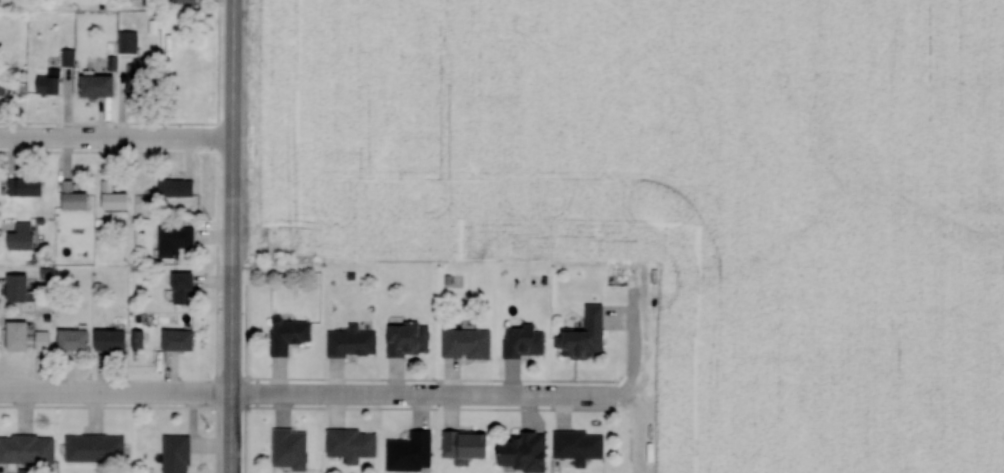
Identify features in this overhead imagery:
building: (195, 0)
building: (53, 81)
building: (143, 82)
building: (105, 83)
building: (6, 84)
road: (116, 139)
building: (32, 186)
building: (181, 186)
crop: (688, 193)
building: (119, 196)
building: (80, 197)
building: (28, 235)
road: (236, 236)
building: (180, 239)
building: (24, 287)
building: (191, 287)
building: (285, 333)
building: (24, 334)
building: (582, 334)
building: (124, 338)
building: (404, 338)
building: (47, 339)
building: (81, 339)
building: (185, 339)
building: (521, 339)
building: (348, 341)
building: (463, 342)
road: (303, 396)
building: (348, 443)
building: (462, 443)
building: (575, 444)
building: (29, 447)
building: (99, 447)
building: (286, 448)
building: (518, 450)
building: (407, 451)
building: (181, 453)

